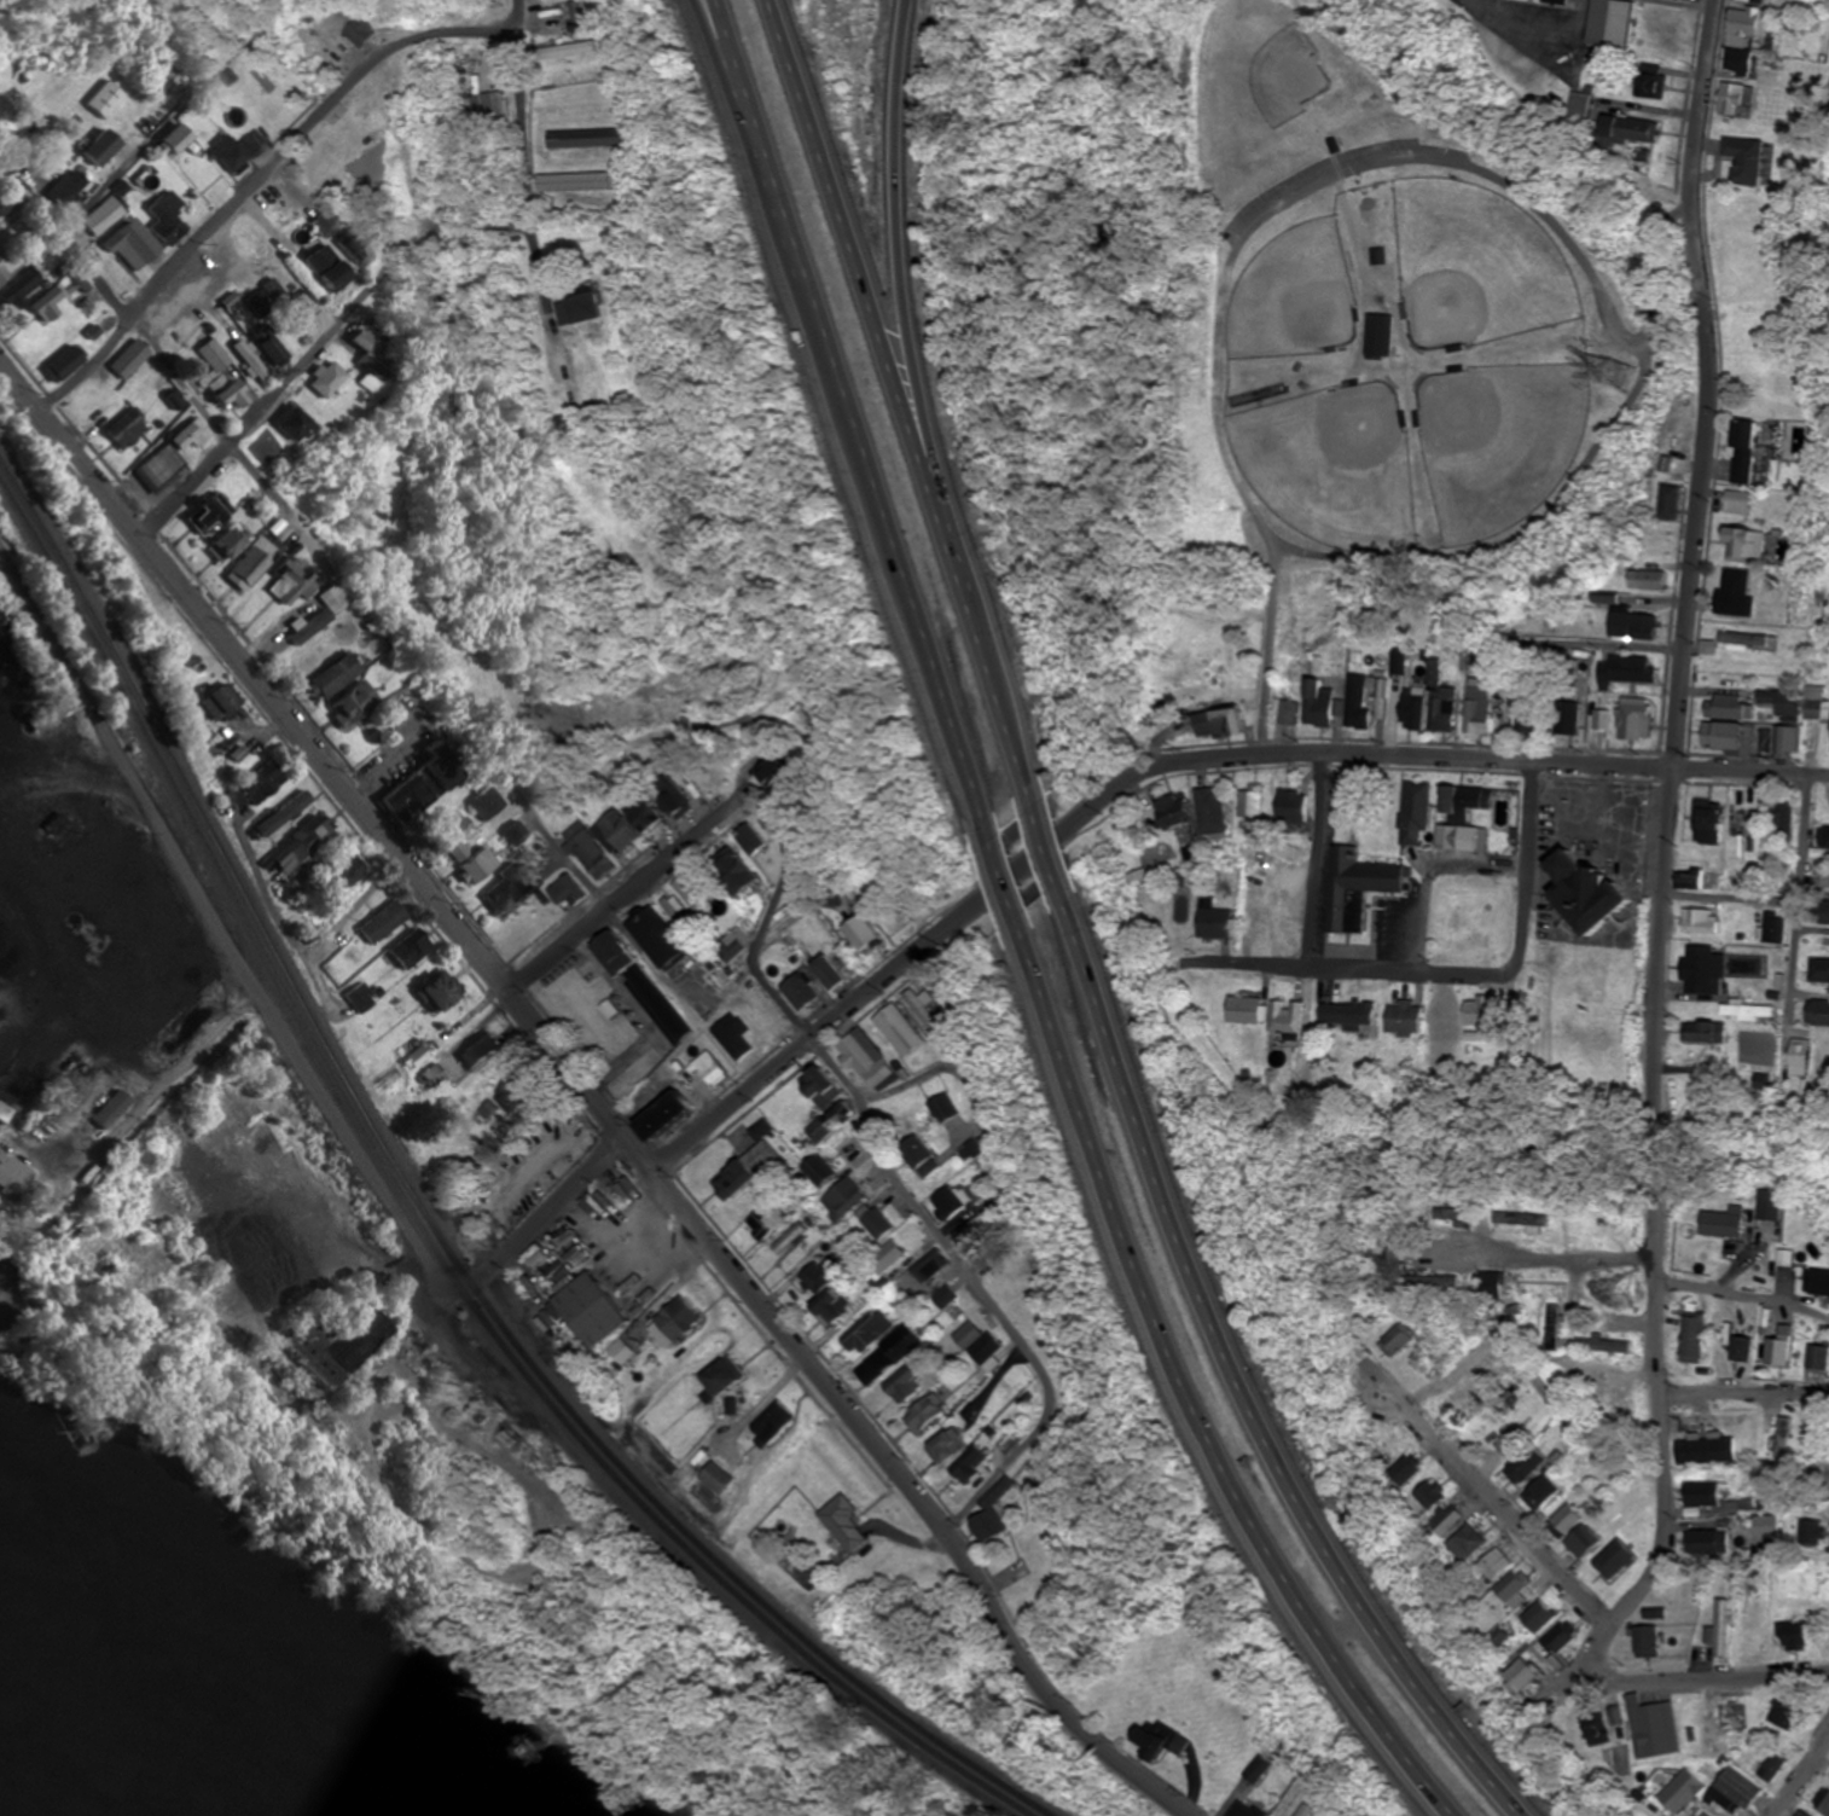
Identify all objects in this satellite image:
road: (408, 19)
building: (360, 30)
road: (1575, 30)
road: (435, 33)
road: (452, 33)
road: (1498, 34)
road: (430, 47)
road: (71, 62)
road: (391, 77)
road: (403, 130)
building: (164, 138)
building: (91, 149)
road: (215, 216)
road: (65, 219)
park: (1490, 256)
building: (5, 263)
road: (385, 271)
road: (901, 274)
park: (1302, 285)
building: (47, 302)
park: (1418, 331)
building: (352, 341)
building: (58, 362)
power tower: (1618, 372)
building: (211, 378)
building: (321, 382)
road: (103, 390)
road: (905, 402)
road: (198, 408)
road: (849, 420)
building: (285, 425)
building: (120, 429)
park: (1510, 439)
building: (166, 454)
park: (1341, 464)
building: (208, 523)
building: (239, 568)
building: (280, 580)
building: (323, 598)
road: (812, 743)
road: (1167, 764)
building: (770, 768)
building: (675, 797)
building: (1209, 810)
building: (1169, 811)
building: (277, 812)
building: (625, 826)
building: (303, 835)
building: (749, 837)
road: (1667, 840)
road: (1041, 846)
road: (1316, 860)
building: (469, 863)
building: (337, 869)
road: (1799, 870)
building: (734, 877)
road: (1001, 878)
road: (635, 882)
building: (565, 892)
road: (1341, 892)
road: (1730, 900)
road: (771, 916)
building: (1213, 921)
building: (374, 922)
building: (859, 932)
building: (731, 942)
building: (401, 948)
building: (825, 970)
road: (1496, 974)
building: (797, 990)
building: (426, 992)
building: (353, 997)
road: (640, 1006)
building: (1244, 1008)
building: (1440, 1010)
building: (1345, 1011)
building: (1400, 1015)
building: (1284, 1016)
road: (275, 1023)
building: (731, 1039)
road: (692, 1058)
building: (863, 1058)
building: (429, 1074)
building: (817, 1085)
road: (588, 1101)
building: (657, 1114)
building: (759, 1127)
building: (919, 1155)
building: (7, 1172)
building: (726, 1179)
building: (842, 1196)
building: (948, 1201)
road: (807, 1212)
railway: (439, 1220)
building: (760, 1220)
building: (875, 1222)
railway: (425, 1234)
building: (786, 1238)
road: (1573, 1255)
building: (884, 1257)
building: (928, 1264)
building: (1430, 1284)
road: (983, 1290)
road: (1720, 1293)
building: (823, 1294)
building: (585, 1311)
building: (674, 1318)
building: (866, 1331)
building: (1690, 1338)
building: (975, 1344)
building: (1738, 1348)
building: (1775, 1350)
building: (886, 1356)
building: (1816, 1357)
building: (715, 1376)
road: (1243, 1376)
building: (902, 1385)
road: (1680, 1385)
road: (1180, 1392)
building: (922, 1415)
building: (943, 1444)
building: (1709, 1450)
building: (968, 1464)
building: (714, 1476)
building: (998, 1490)
building: (1539, 1493)
building: (1701, 1493)
road: (1506, 1514)
building: (1451, 1520)
building: (1562, 1521)
building: (1766, 1525)
building: (1465, 1542)
building: (1575, 1545)
building: (1613, 1559)
building: (1491, 1567)
building: (1509, 1588)
building: (1535, 1617)
building: (1720, 1628)
building: (1793, 1635)
building: (1824, 1635)
building: (1556, 1638)
building: (1644, 1641)
building: (1519, 1675)
road: (1713, 1682)
building: (1729, 1713)
building: (1662, 1728)
road: (1799, 1774)
building: (1828, 1780)
building: (1736, 1787)
building: (1821, 1802)
building: (1303, 1810)
building: (1703, 1814)
building: (1804, 1814)

